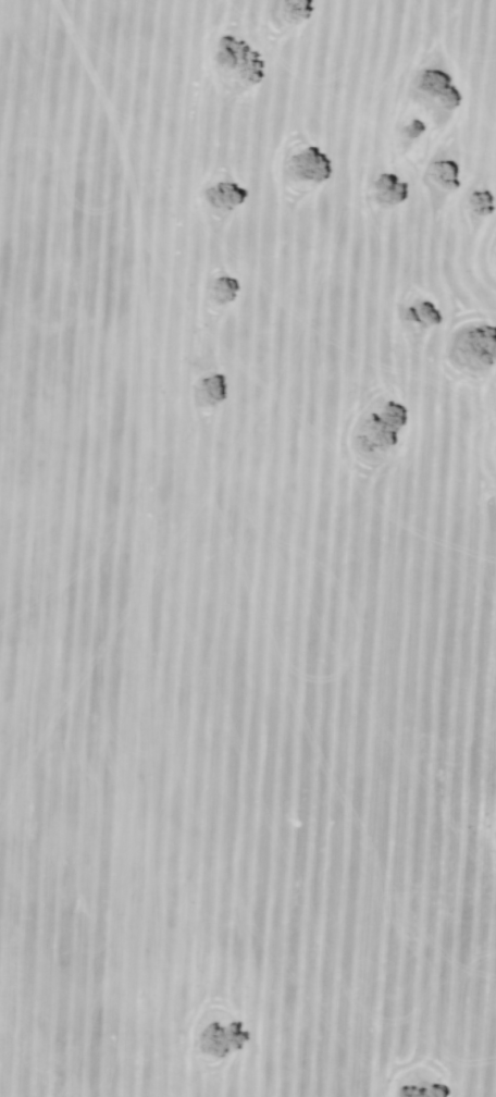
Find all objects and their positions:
crop: (248, 548)

